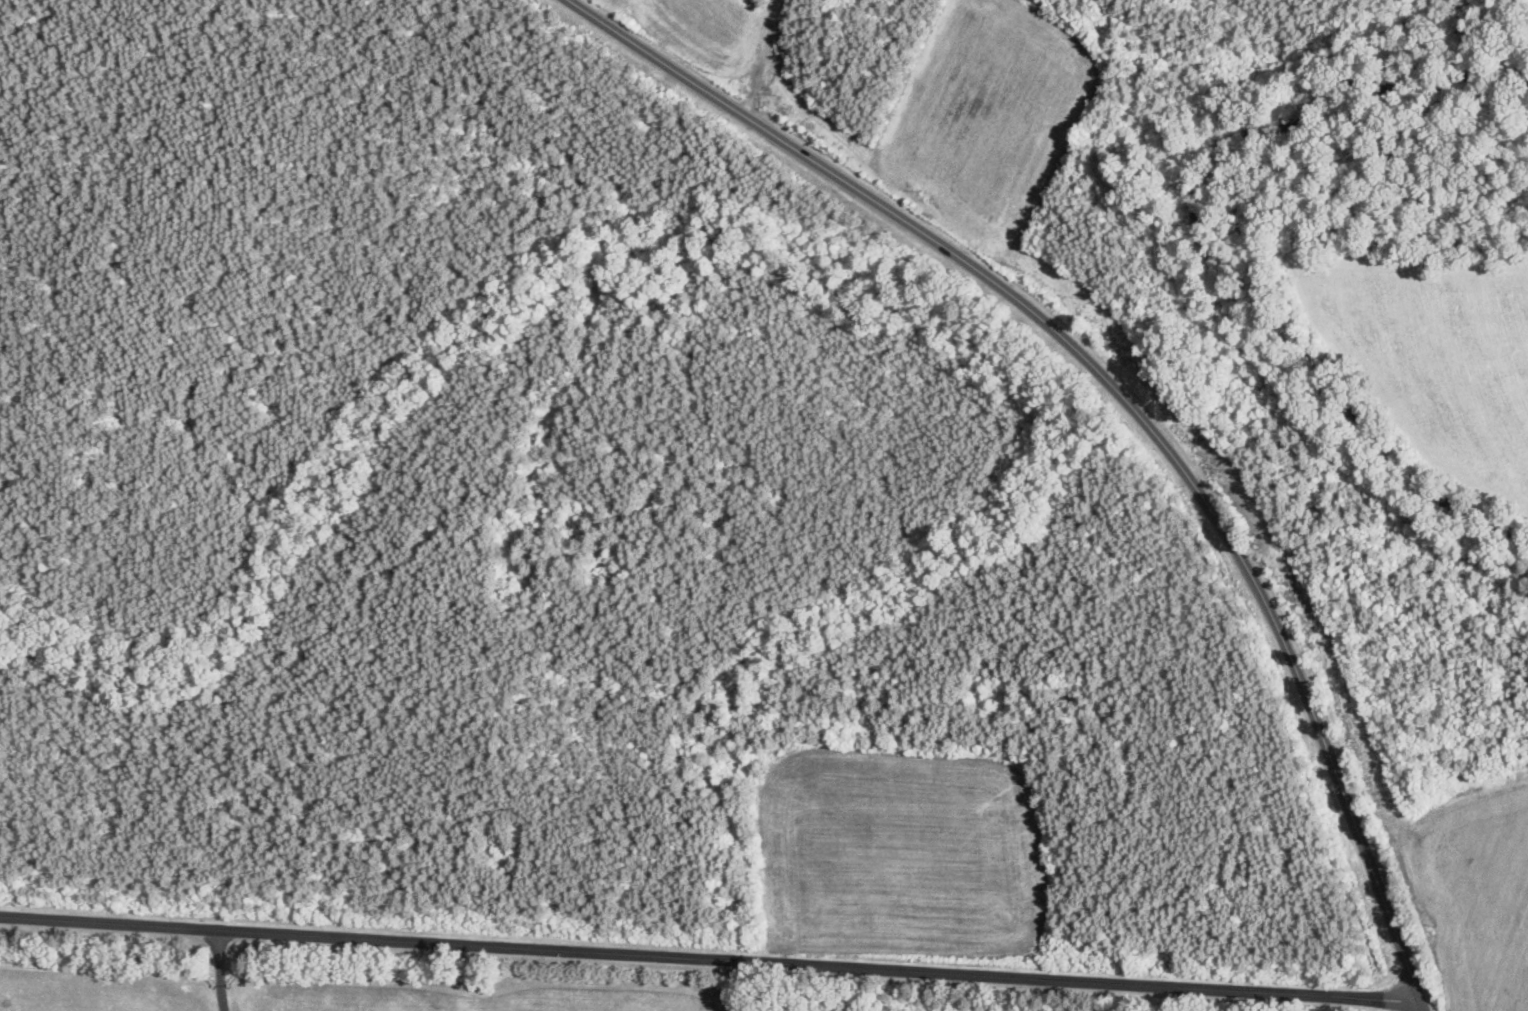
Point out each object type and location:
road: (1121, 394)
road: (710, 960)
road: (216, 971)
road: (1423, 1005)

